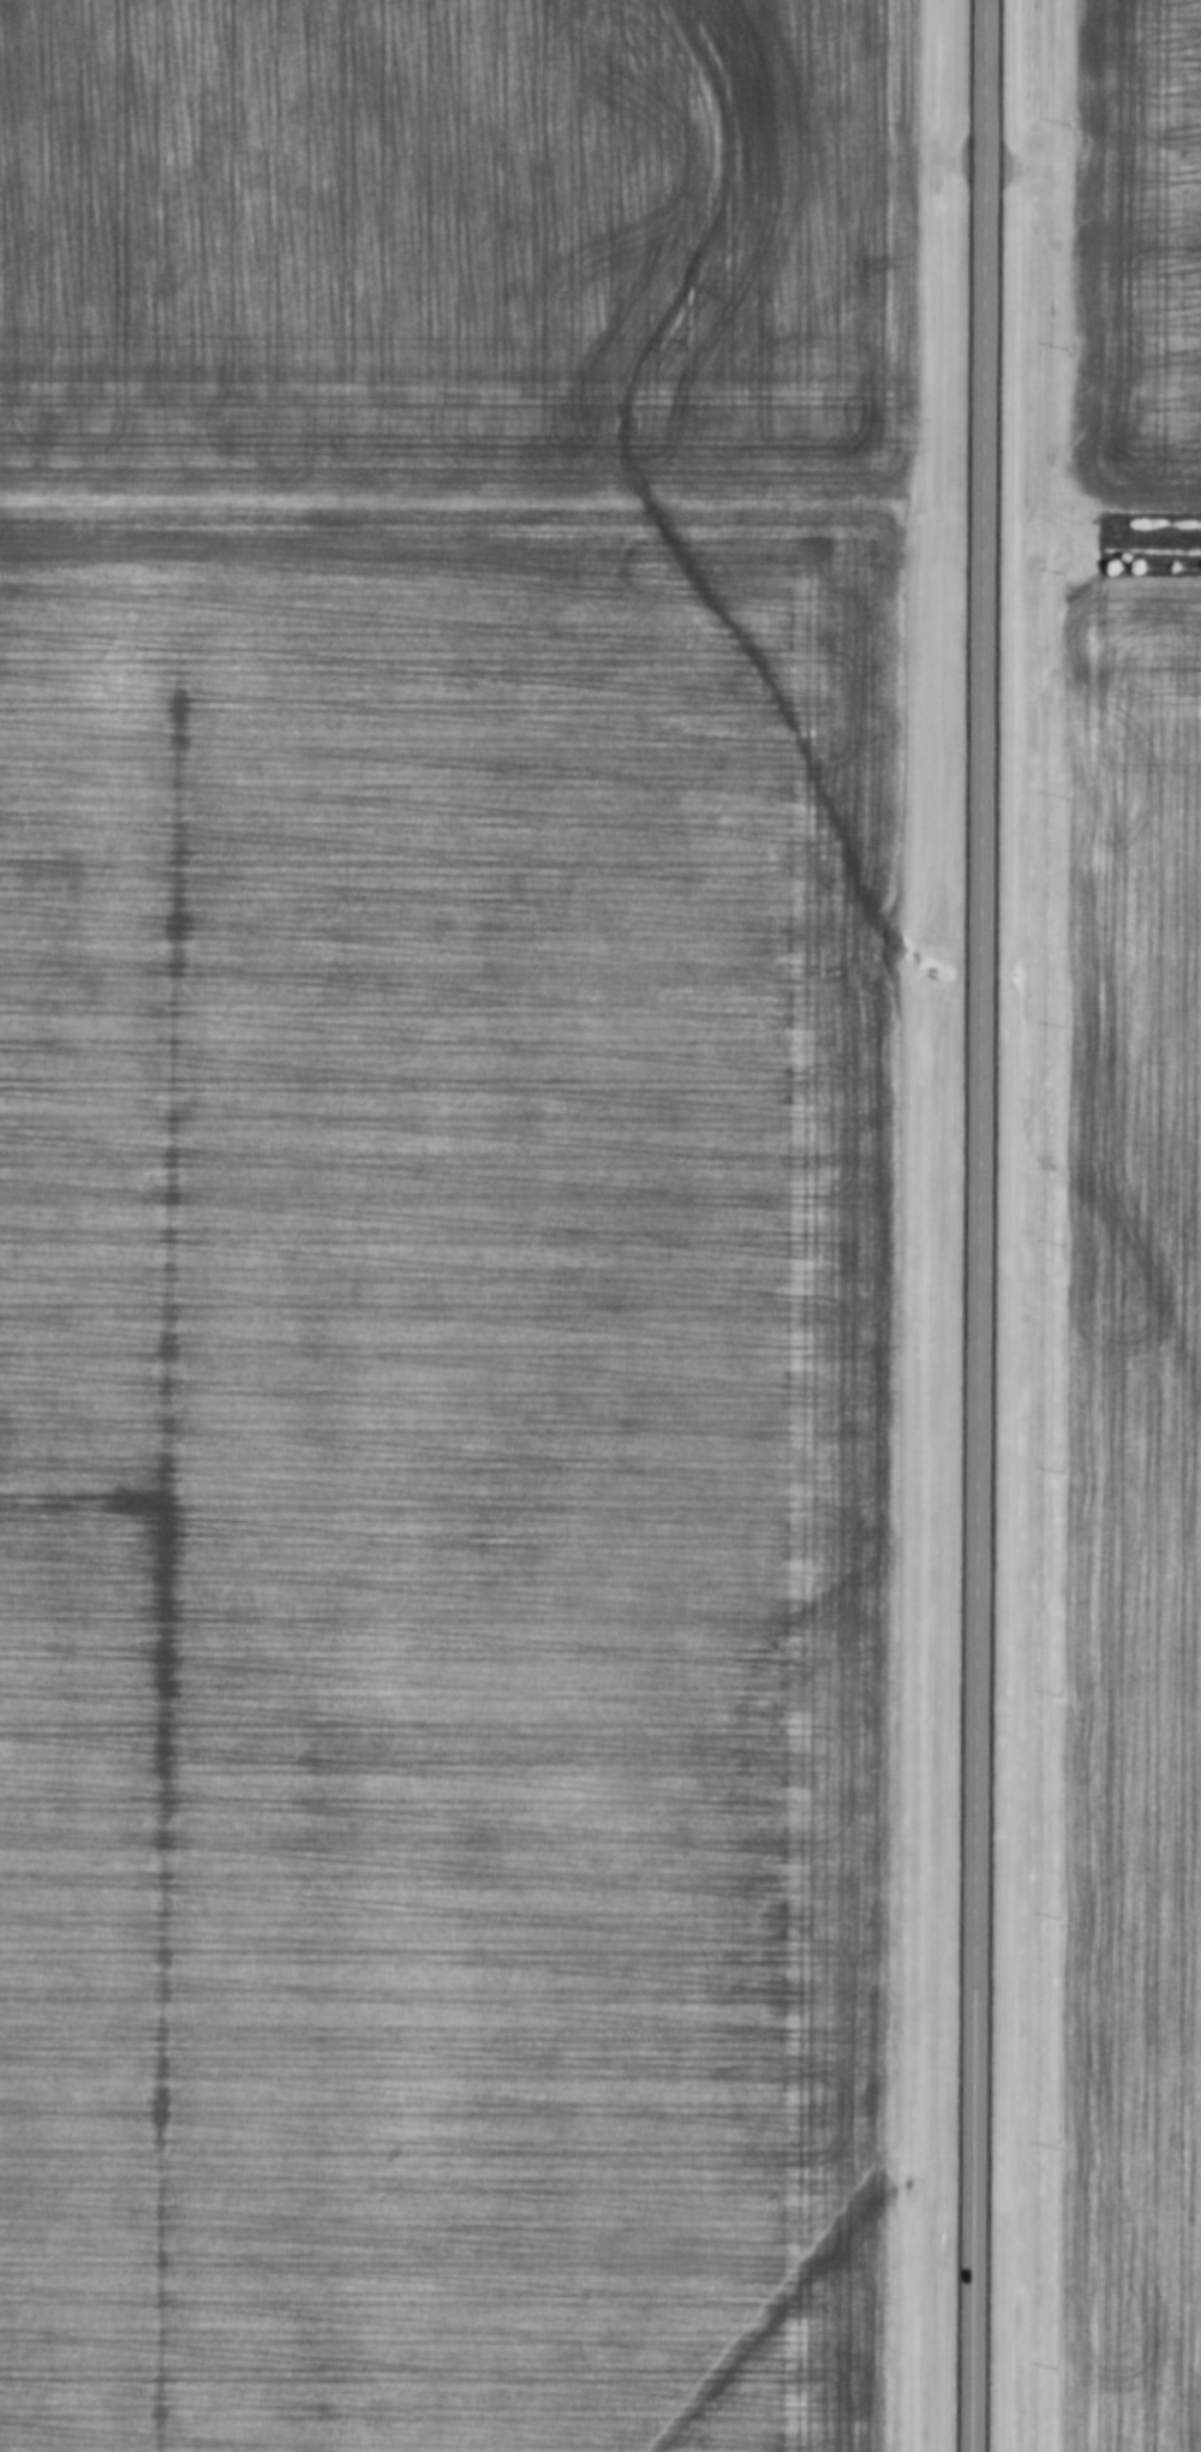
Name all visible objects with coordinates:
road: (976, 1225)

